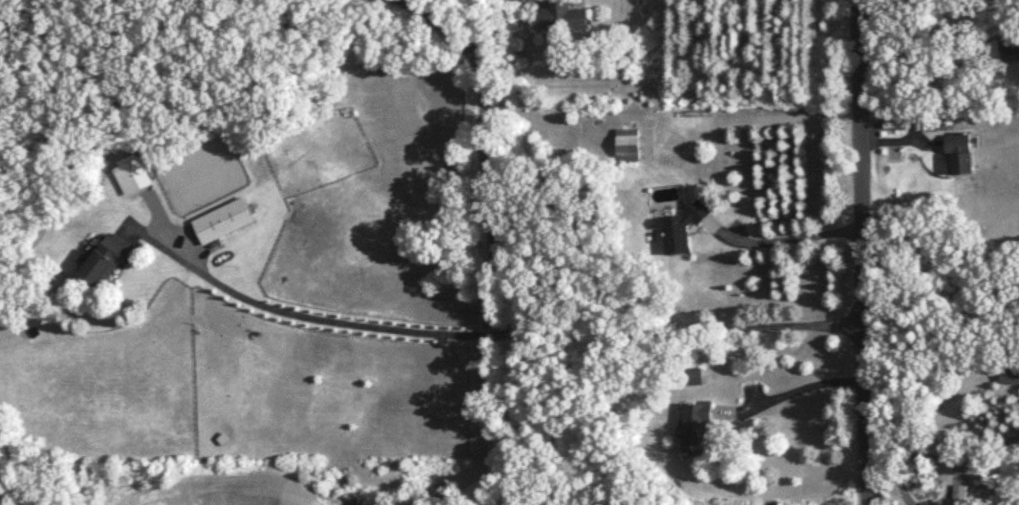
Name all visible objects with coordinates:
road: (867, 1)
building: (562, 16)
building: (1002, 48)
building: (628, 145)
road: (485, 152)
building: (959, 154)
building: (222, 221)
building: (678, 229)
road: (796, 234)
road: (866, 252)
building: (102, 263)
road: (516, 332)
building: (1010, 373)
building: (695, 378)
road: (803, 379)
building: (695, 428)
road: (946, 455)
building: (959, 502)

